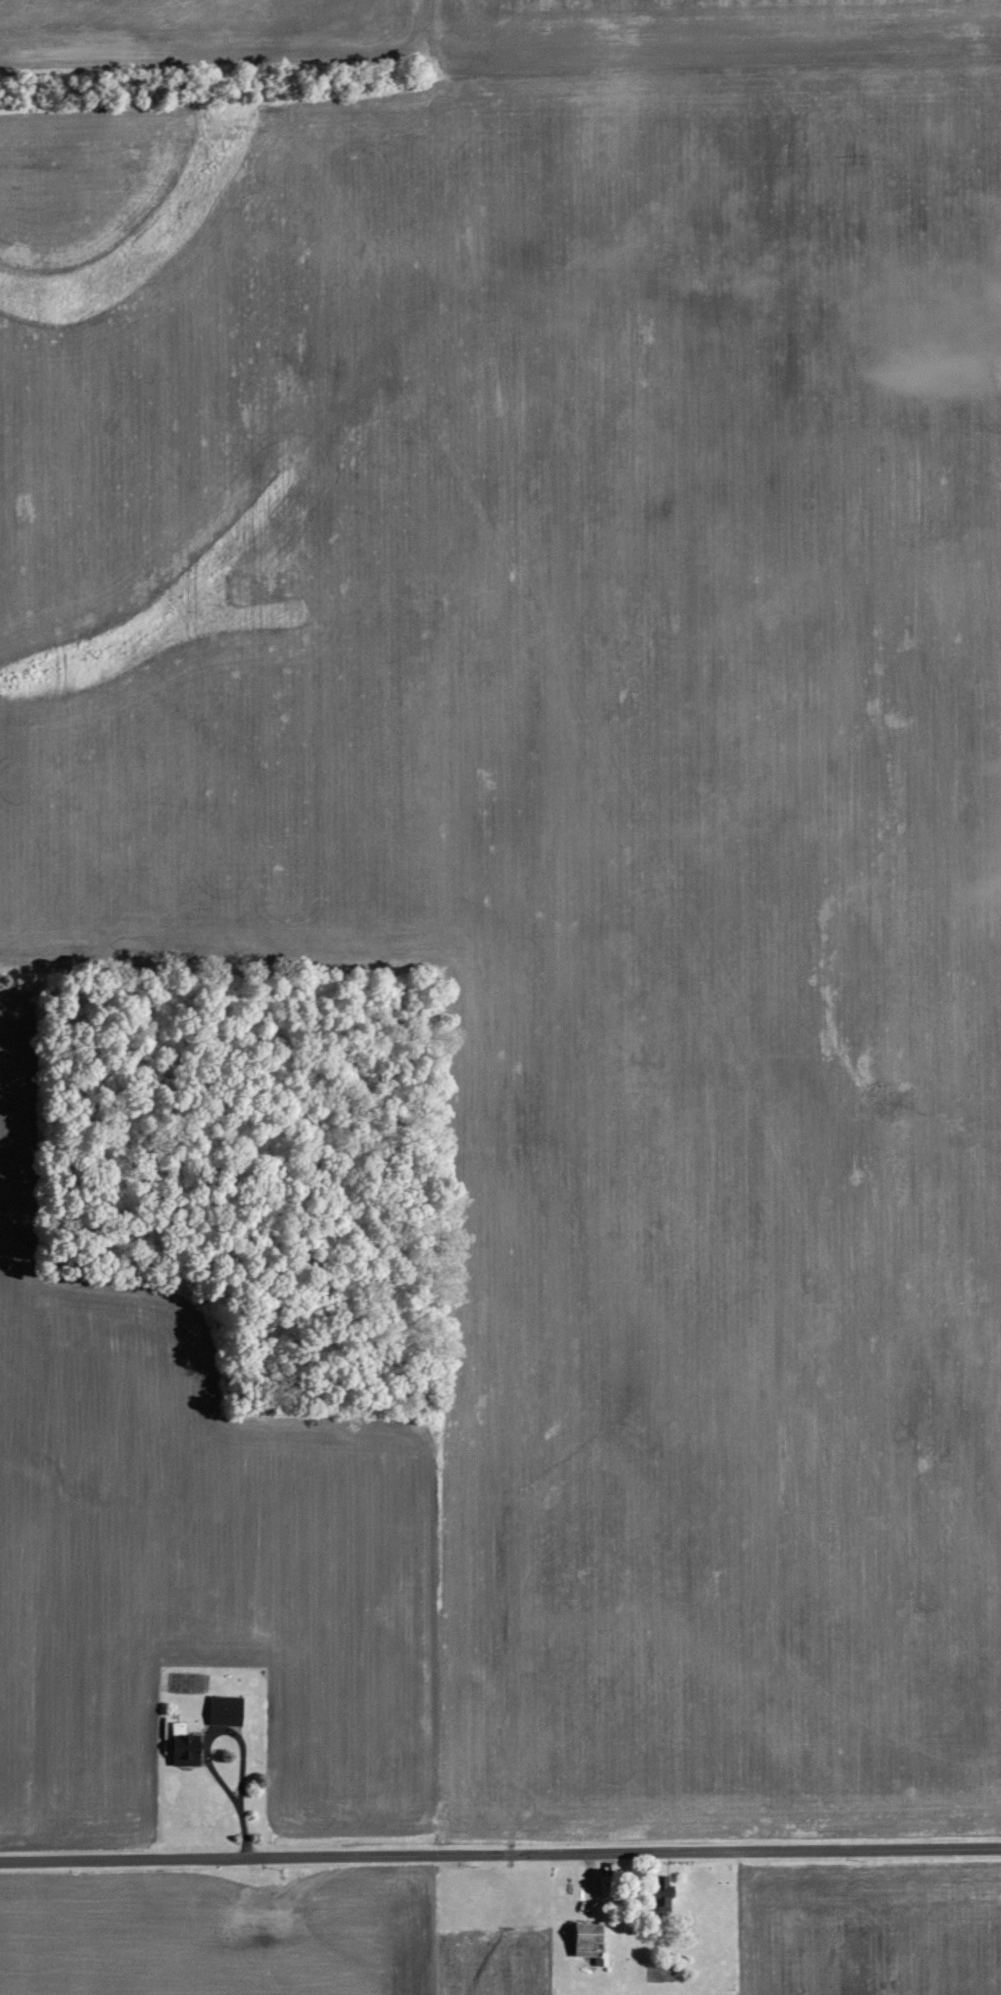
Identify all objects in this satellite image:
building: (229, 1710)
road: (500, 1853)
building: (593, 1942)

